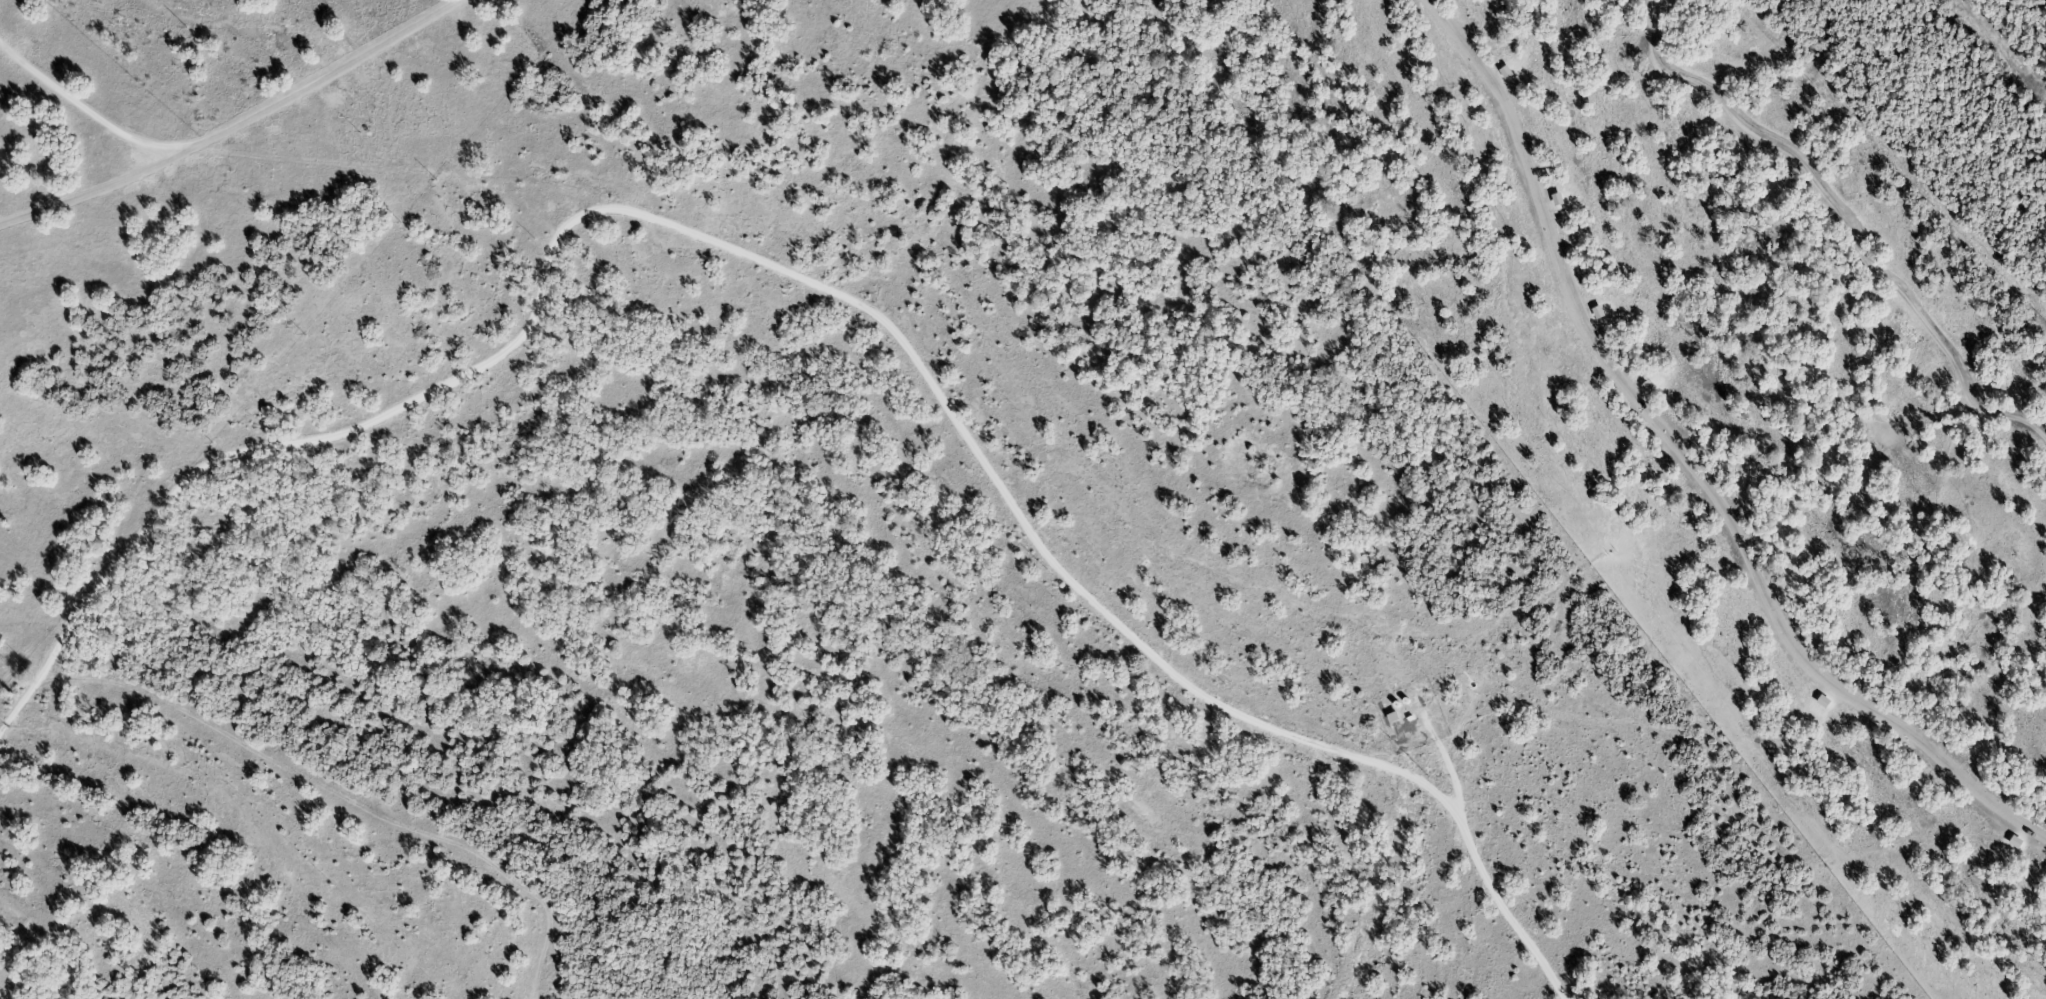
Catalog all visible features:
road: (93, 117)
road: (234, 125)
road: (1844, 218)
road: (813, 283)
road: (1683, 461)

